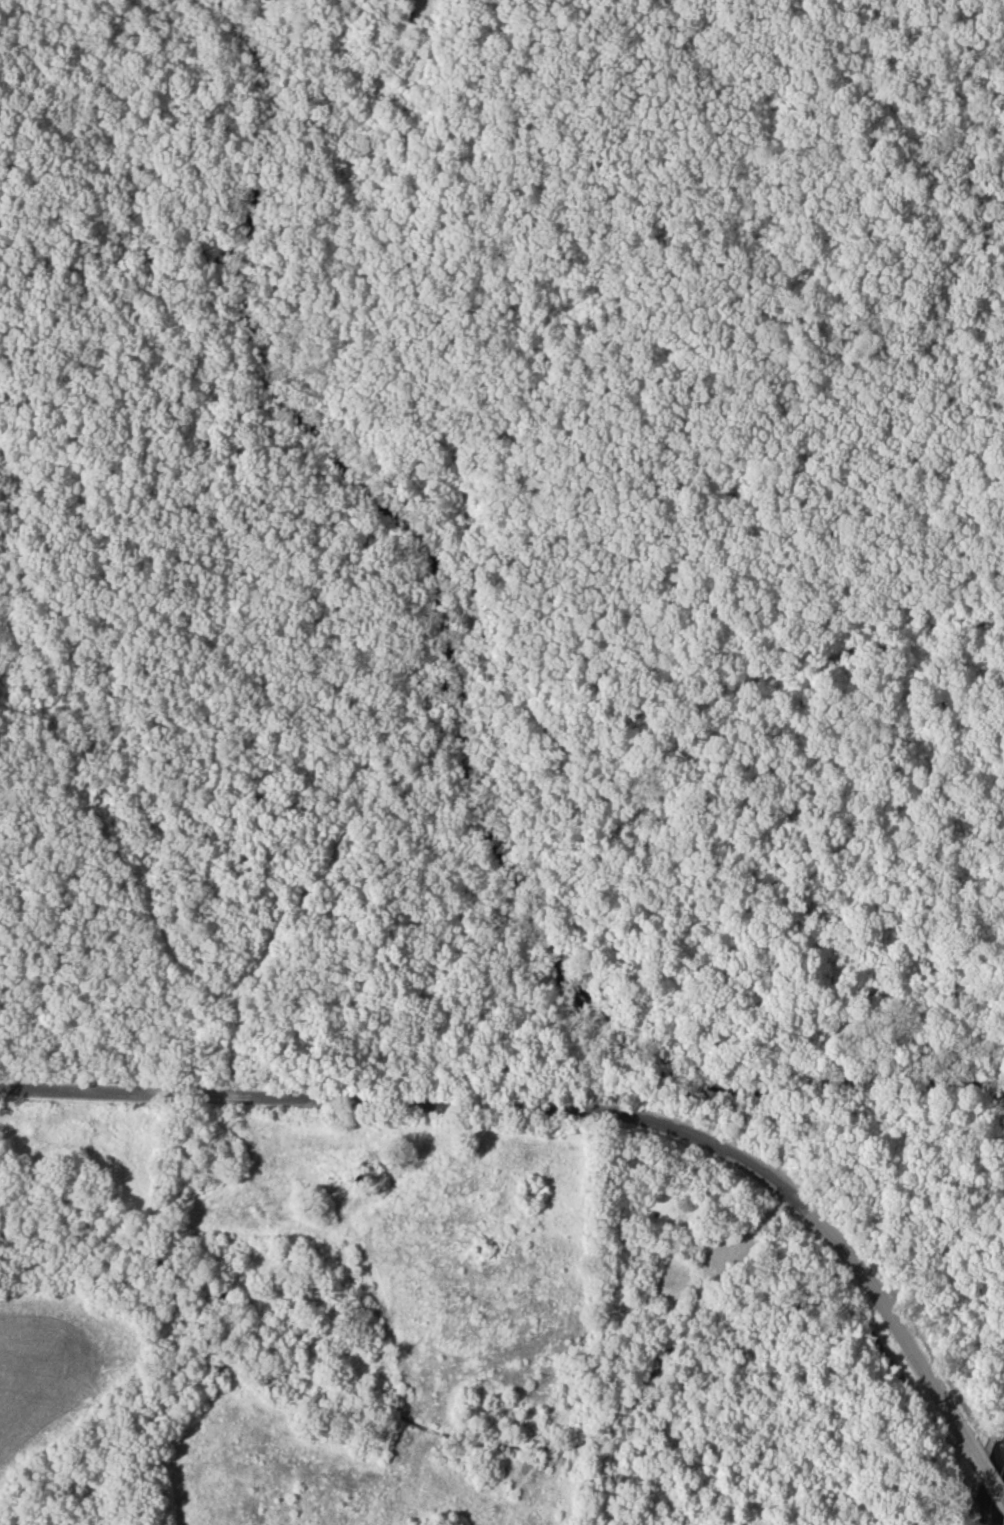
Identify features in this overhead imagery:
road: (403, 127)
road: (227, 202)
road: (613, 518)
road: (961, 618)
road: (519, 692)
park: (502, 762)
road: (974, 770)
road: (332, 850)
road: (135, 873)
road: (505, 920)
road: (593, 1108)
road: (750, 1238)
parking lot: (717, 1252)

